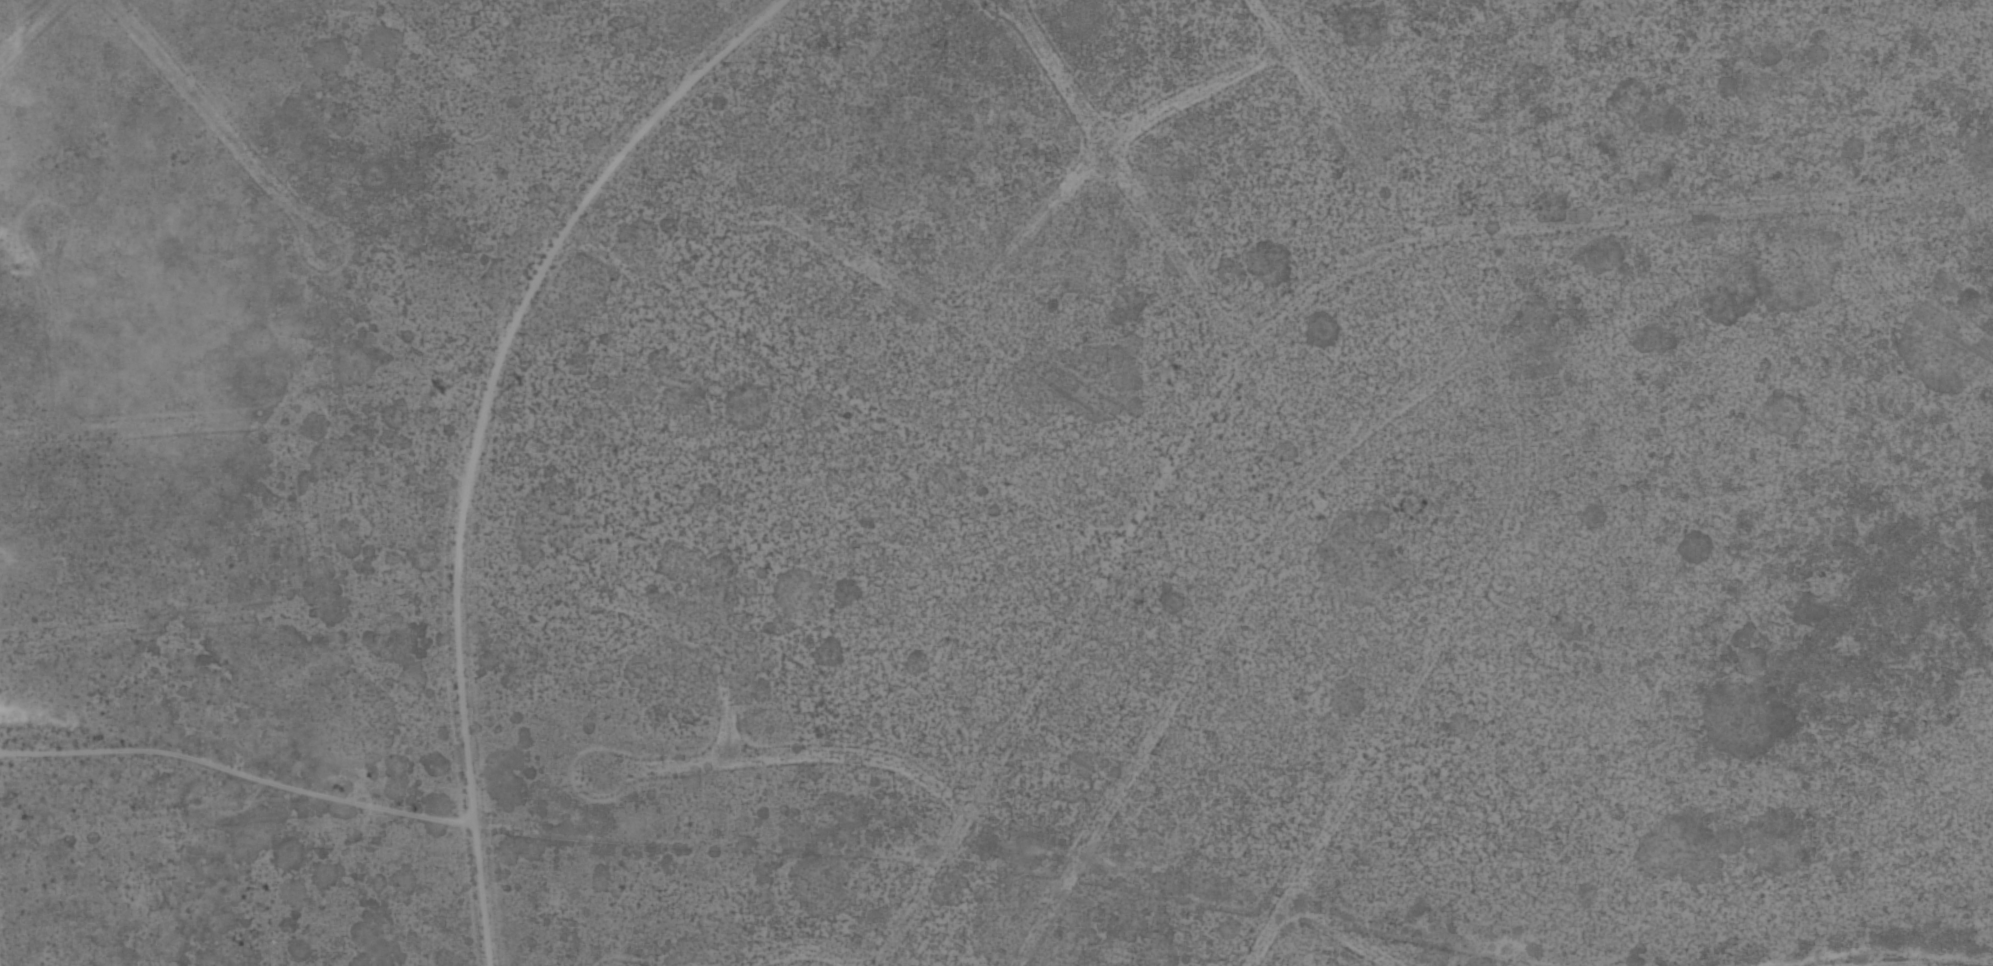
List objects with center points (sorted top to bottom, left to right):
road: (480, 433)

